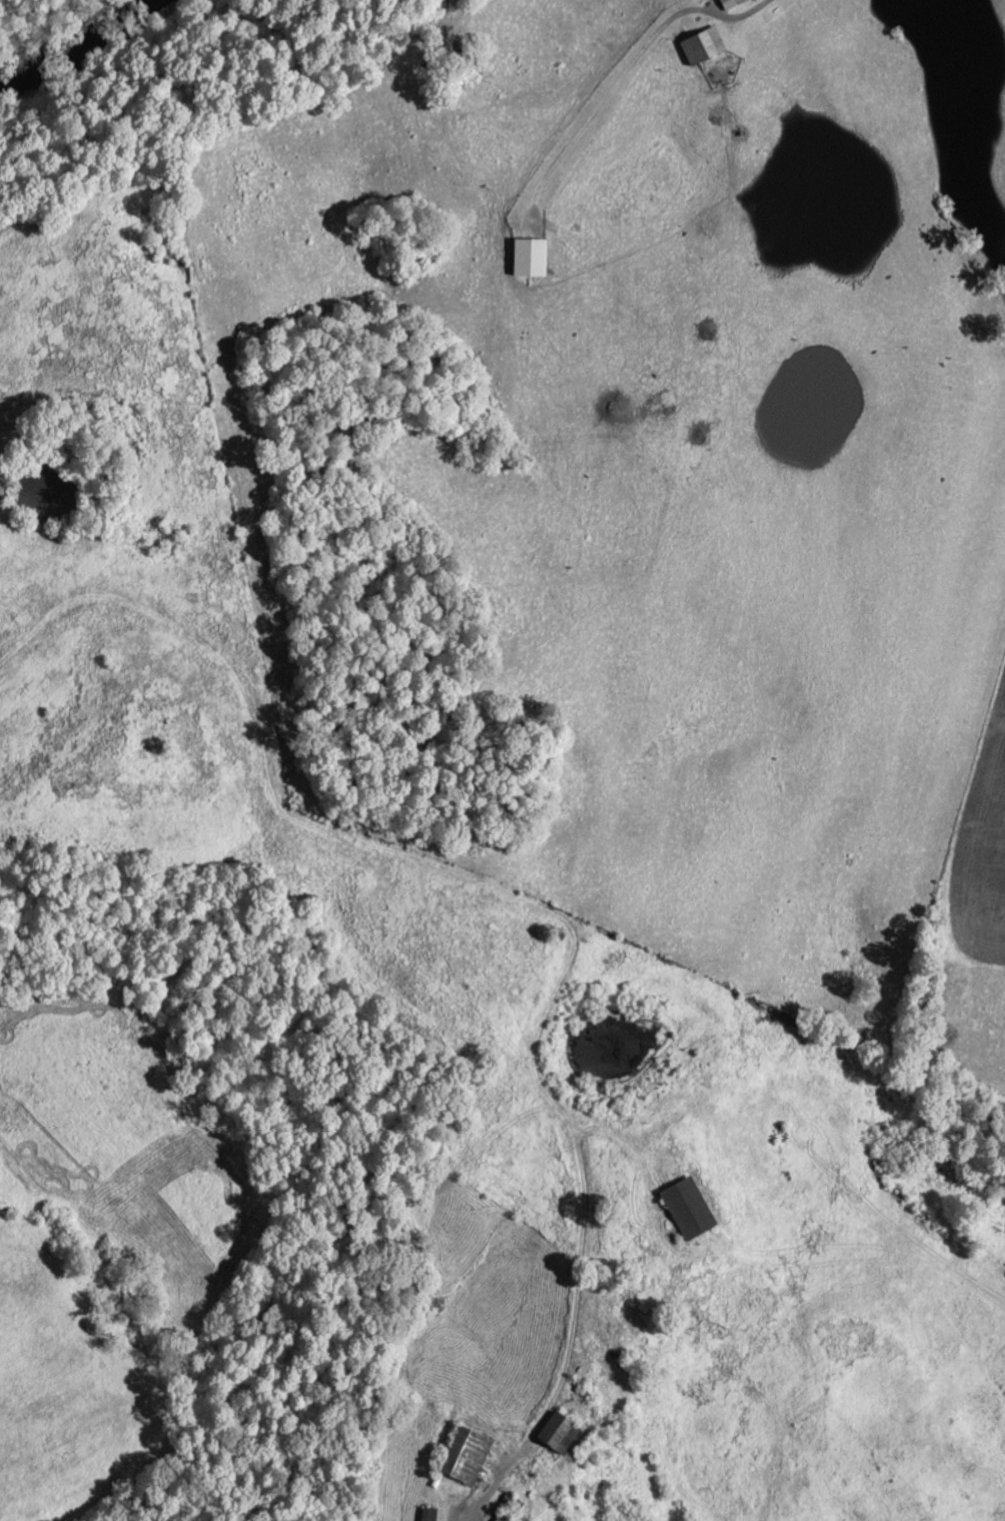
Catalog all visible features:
building: (730, 2)
building: (702, 44)
building: (529, 256)
building: (687, 1206)
building: (554, 1428)
building: (464, 1454)
building: (428, 1513)
building: (503, 1517)

